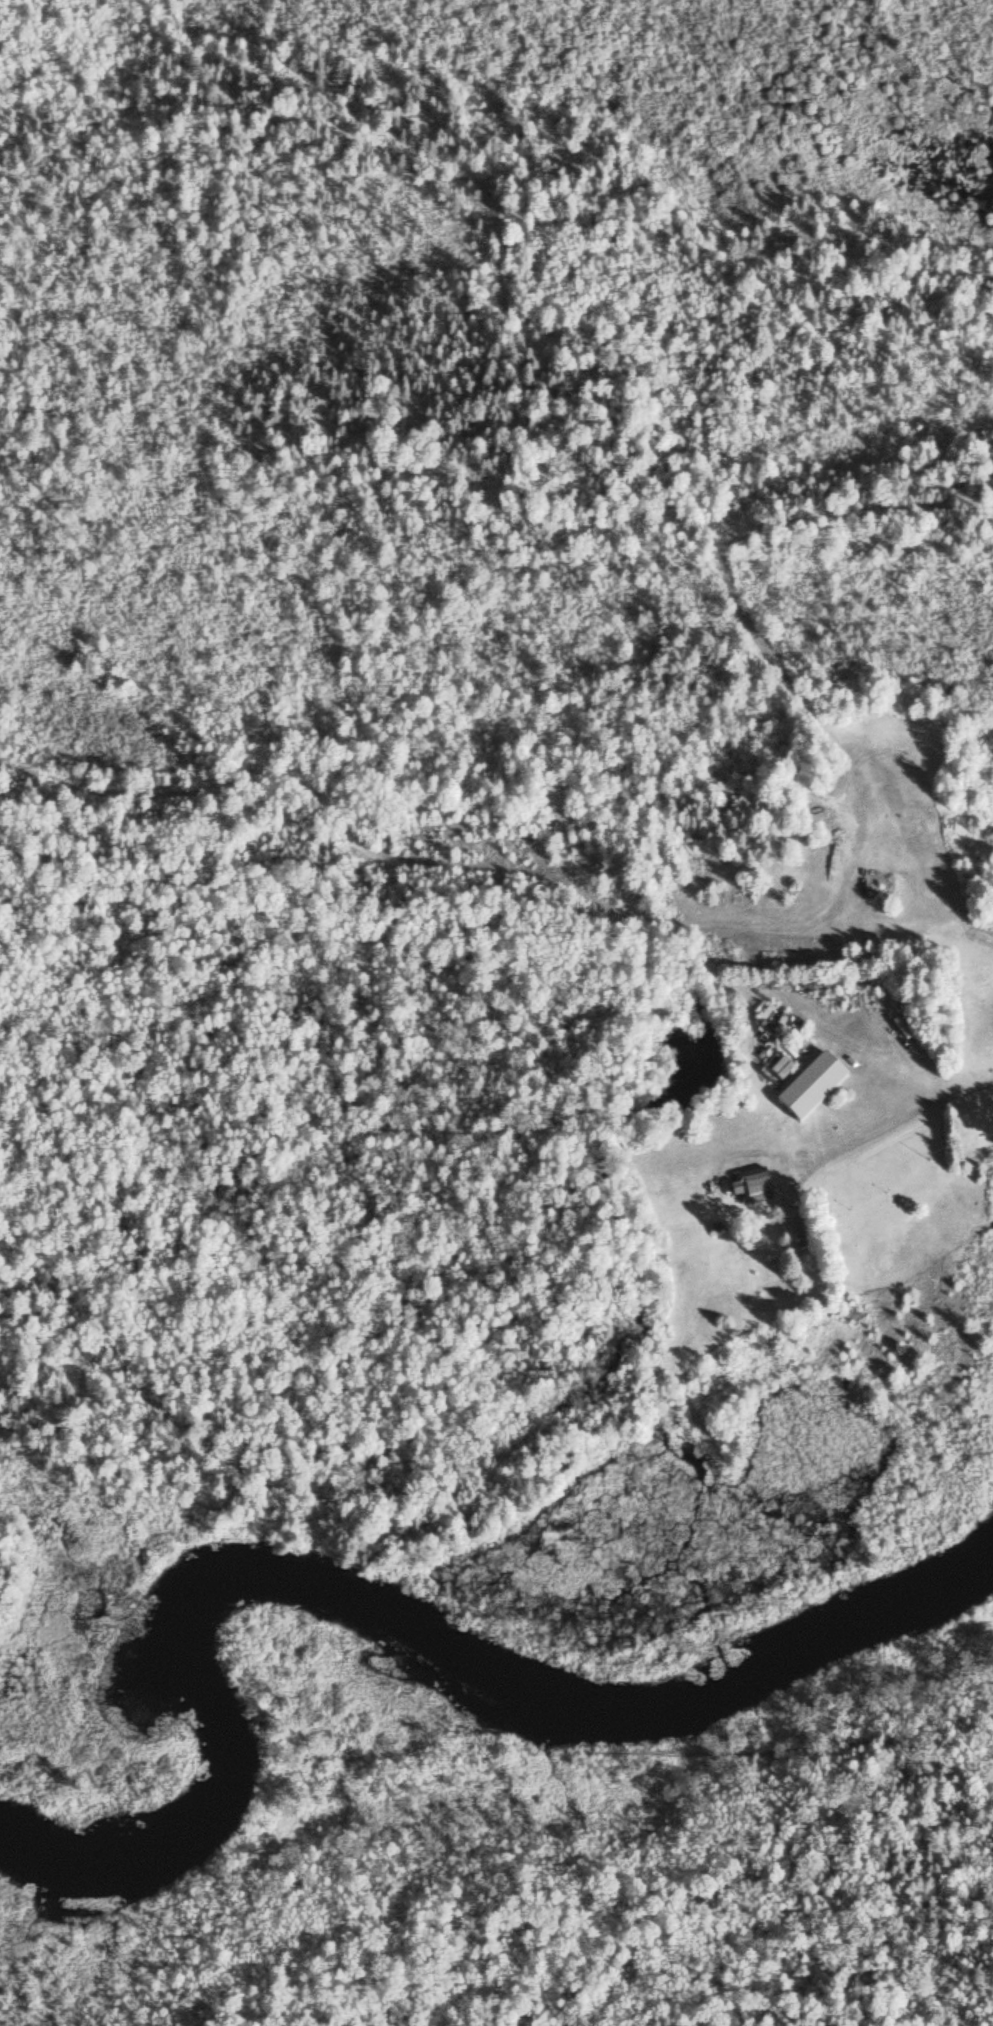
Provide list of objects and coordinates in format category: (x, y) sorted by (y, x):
building: (809, 1088)
road: (898, 1117)
building: (754, 1186)
building: (799, 1233)
river: (823, 1483)
river: (365, 1622)

